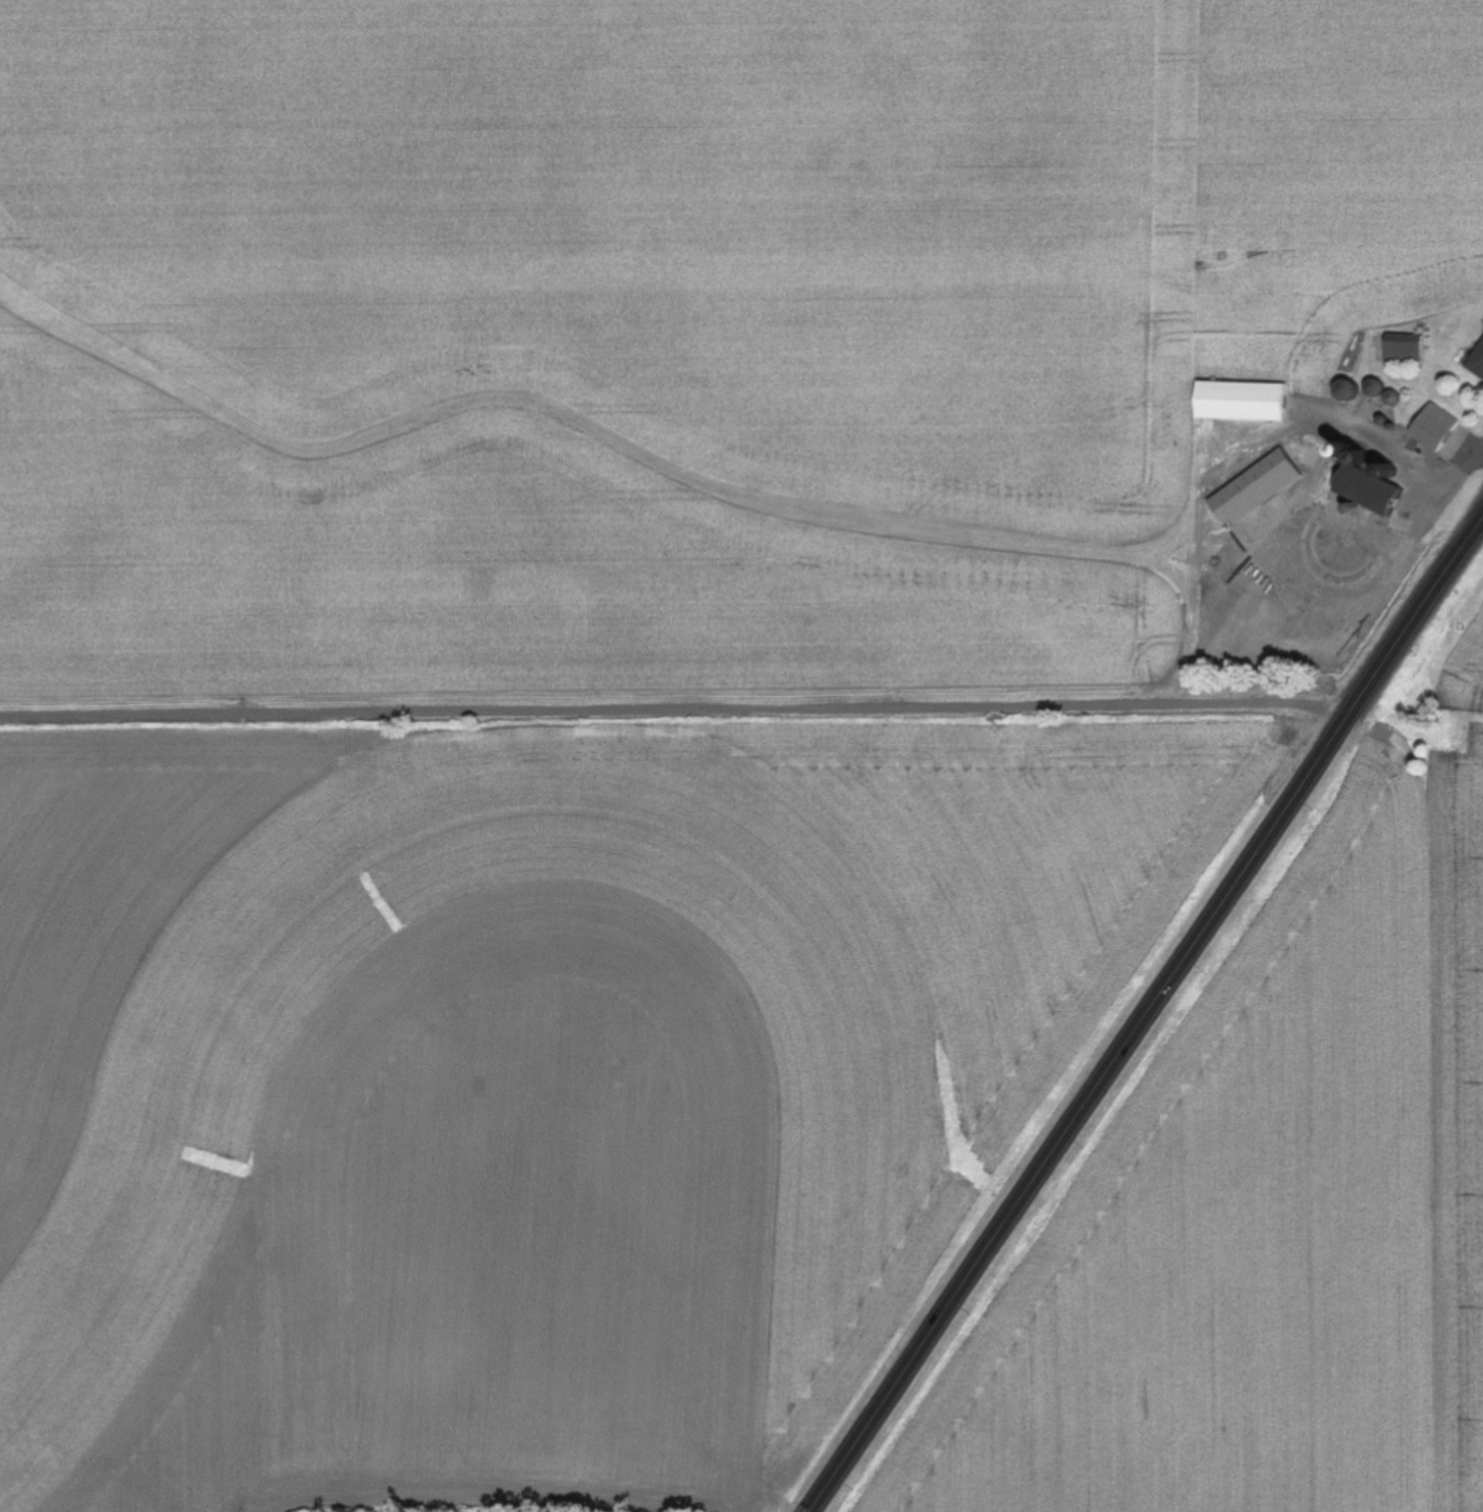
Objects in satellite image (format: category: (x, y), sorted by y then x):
road: (1482, 450)
road: (1408, 457)
crop: (615, 687)
road: (1149, 1024)

